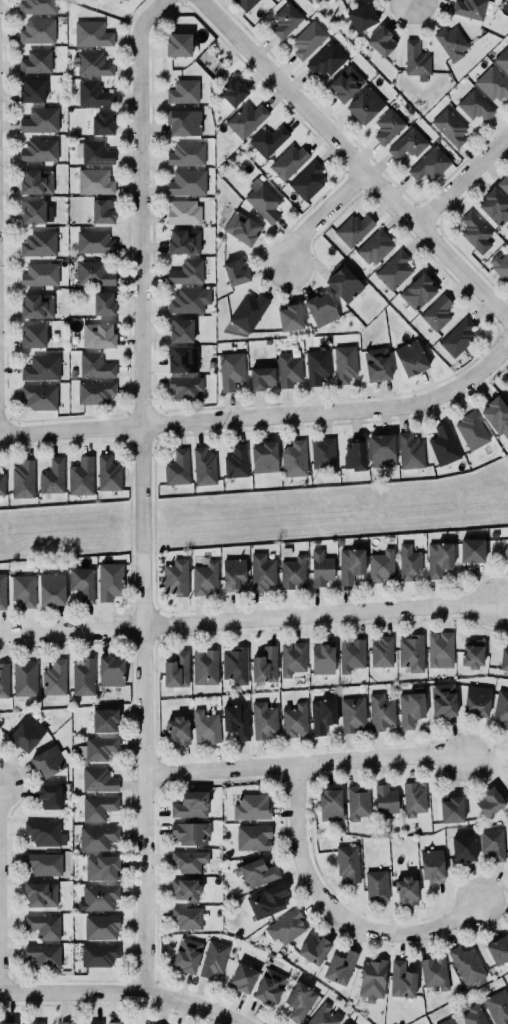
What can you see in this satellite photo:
building: (128, 0)
building: (245, 4)
building: (37, 6)
building: (469, 8)
building: (361, 16)
building: (286, 19)
building: (38, 31)
building: (92, 33)
building: (308, 39)
building: (381, 40)
building: (451, 42)
building: (178, 44)
building: (325, 59)
building: (502, 59)
building: (416, 60)
building: (36, 61)
building: (93, 64)
building: (346, 82)
building: (492, 83)
building: (31, 90)
building: (183, 91)
building: (232, 91)
building: (93, 94)
building: (365, 105)
building: (474, 105)
building: (245, 119)
building: (40, 120)
building: (184, 121)
building: (103, 123)
building: (388, 126)
building: (449, 126)
building: (267, 140)
building: (407, 143)
building: (39, 150)
building: (94, 152)
building: (186, 153)
road: (354, 159)
building: (288, 161)
building: (429, 164)
road: (462, 178)
building: (307, 180)
building: (37, 181)
building: (94, 181)
building: (187, 182)
building: (503, 184)
building: (262, 199)
building: (495, 206)
building: (33, 210)
building: (102, 210)
building: (183, 211)
road: (322, 214)
building: (242, 228)
building: (353, 229)
building: (475, 231)
building: (94, 241)
building: (184, 241)
building: (39, 243)
building: (374, 246)
building: (500, 266)
building: (394, 270)
building: (236, 271)
building: (186, 272)
building: (93, 273)
building: (40, 274)
building: (343, 282)
building: (417, 291)
building: (189, 300)
building: (104, 303)
building: (36, 305)
building: (321, 309)
building: (248, 311)
building: (437, 312)
building: (290, 317)
building: (180, 330)
building: (33, 335)
building: (98, 335)
building: (457, 337)
building: (411, 357)
building: (183, 359)
building: (344, 363)
building: (377, 364)
building: (95, 366)
building: (316, 366)
building: (41, 367)
building: (288, 369)
building: (230, 370)
road: (496, 371)
building: (73, 373)
building: (261, 377)
park: (500, 378)
building: (186, 387)
building: (95, 391)
building: (40, 396)
building: (496, 414)
road: (263, 416)
building: (471, 430)
road: (155, 437)
road: (125, 440)
building: (443, 445)
building: (382, 450)
building: (410, 451)
building: (355, 453)
building: (323, 455)
park: (506, 455)
building: (264, 457)
building: (294, 459)
building: (236, 462)
building: (204, 466)
building: (178, 468)
building: (108, 474)
building: (52, 476)
building: (81, 476)
building: (23, 479)
building: (2, 484)
road: (142, 493)
road: (153, 523)
road: (128, 527)
building: (494, 534)
building: (473, 550)
building: (505, 551)
building: (438, 558)
building: (408, 562)
building: (351, 564)
building: (381, 566)
building: (321, 567)
building: (262, 572)
building: (293, 572)
building: (233, 574)
building: (176, 577)
building: (204, 578)
building: (110, 581)
building: (81, 583)
building: (51, 589)
building: (23, 590)
building: (2, 591)
road: (156, 609)
road: (126, 614)
road: (246, 618)
building: (440, 649)
building: (381, 651)
building: (411, 652)
building: (351, 654)
building: (472, 656)
building: (292, 658)
building: (322, 658)
building: (504, 659)
building: (235, 664)
building: (264, 665)
building: (205, 667)
building: (177, 670)
building: (110, 671)
building: (83, 677)
building: (24, 678)
building: (54, 678)
building: (4, 680)
building: (443, 699)
building: (478, 700)
building: (410, 708)
building: (501, 708)
building: (381, 712)
building: (323, 714)
building: (353, 715)
building: (104, 719)
building: (263, 719)
building: (236, 720)
building: (294, 720)
building: (206, 726)
building: (178, 729)
building: (27, 733)
building: (99, 748)
building: (48, 761)
road: (303, 766)
building: (98, 780)
building: (50, 796)
building: (414, 798)
building: (385, 799)
building: (490, 801)
building: (357, 802)
building: (191, 804)
building: (330, 804)
building: (251, 806)
building: (98, 807)
building: (451, 808)
building: (190, 832)
building: (45, 833)
building: (253, 836)
building: (97, 837)
building: (492, 844)
building: (464, 847)
building: (189, 860)
building: (348, 862)
building: (44, 863)
building: (432, 865)
building: (101, 867)
building: (256, 871)
building: (376, 885)
building: (185, 888)
building: (406, 890)
building: (40, 894)
building: (98, 897)
building: (267, 900)
road: (334, 914)
building: (187, 916)
building: (286, 925)
building: (44, 926)
building: (101, 926)
building: (202, 936)
building: (314, 948)
building: (498, 949)
building: (187, 953)
building: (98, 954)
building: (44, 956)
building: (213, 958)
building: (467, 964)
building: (340, 966)
building: (434, 972)
building: (244, 977)
building: (372, 979)
building: (402, 979)
building: (507, 982)
building: (269, 985)
road: (119, 994)
building: (300, 999)
building: (497, 1006)
building: (323, 1015)
building: (473, 1015)
building: (448, 1021)
building: (7, 1022)
building: (36, 1022)
building: (65, 1022)
building: (95, 1022)
building: (113, 1022)
building: (142, 1023)
building: (144, 1023)

